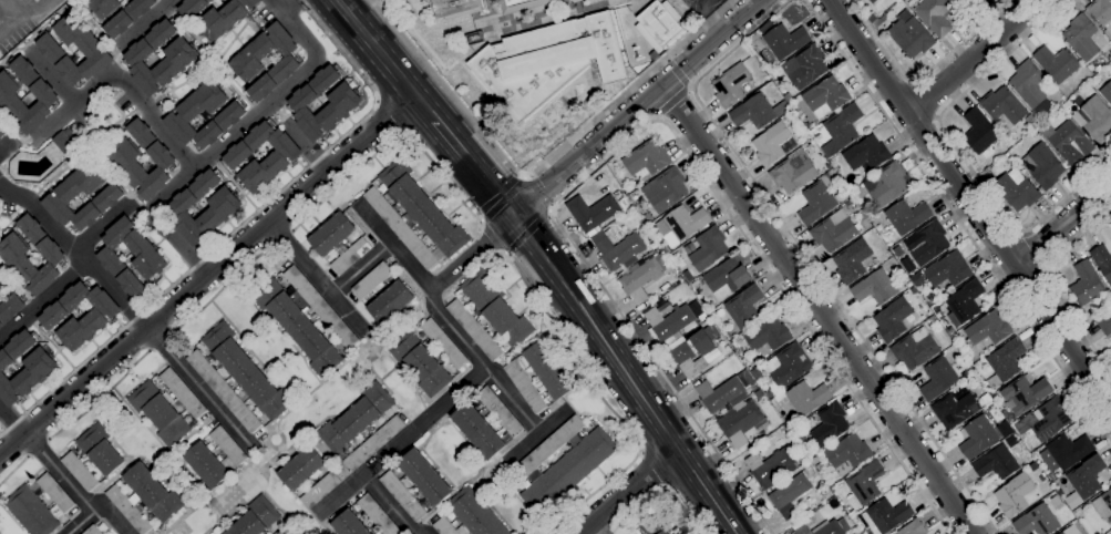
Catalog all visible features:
building: (872, 1)
building: (956, 1)
building: (979, 1)
building: (974, 2)
building: (522, 6)
building: (103, 7)
road: (275, 7)
road: (288, 7)
building: (452, 7)
building: (192, 8)
road: (356, 8)
building: (474, 10)
road: (28, 11)
building: (1101, 13)
building: (127, 17)
road: (708, 17)
building: (935, 17)
building: (871, 18)
building: (224, 19)
building: (878, 22)
road: (143, 23)
building: (660, 24)
building: (764, 28)
building: (909, 37)
building: (1081, 38)
building: (784, 41)
building: (51, 50)
road: (975, 58)
road: (383, 59)
building: (178, 60)
road: (667, 60)
building: (548, 61)
building: (245, 63)
building: (1057, 64)
building: (804, 68)
road: (677, 74)
road: (922, 74)
road: (52, 75)
road: (120, 82)
building: (1028, 84)
road: (690, 86)
building: (730, 86)
building: (1105, 92)
building: (45, 96)
building: (825, 97)
road: (925, 100)
road: (672, 101)
building: (342, 105)
road: (636, 109)
building: (1002, 109)
building: (757, 112)
building: (232, 114)
road: (257, 114)
road: (390, 116)
road: (658, 117)
building: (1095, 120)
road: (647, 124)
building: (841, 130)
building: (2, 132)
building: (981, 134)
building: (0, 140)
road: (392, 140)
building: (62, 142)
building: (1067, 143)
building: (773, 144)
road: (4, 145)
building: (866, 154)
road: (957, 154)
building: (234, 158)
building: (122, 161)
building: (645, 161)
building: (1042, 166)
road: (542, 167)
road: (473, 168)
building: (793, 173)
road: (525, 177)
building: (884, 186)
building: (665, 191)
building: (1016, 191)
road: (536, 194)
building: (109, 197)
road: (504, 199)
building: (816, 202)
road: (970, 203)
building: (223, 209)
road: (551, 209)
building: (866, 212)
building: (591, 213)
building: (415, 216)
building: (906, 217)
traffic signals: (515, 218)
building: (647, 218)
road: (481, 222)
road: (958, 222)
building: (681, 224)
road: (1063, 225)
road: (103, 226)
road: (238, 227)
road: (528, 230)
building: (331, 234)
building: (834, 234)
road: (492, 238)
road: (179, 240)
road: (282, 240)
building: (926, 244)
building: (708, 249)
road: (76, 251)
building: (619, 251)
road: (474, 254)
road: (507, 254)
road: (1032, 254)
building: (12, 255)
building: (350, 256)
building: (150, 257)
road: (805, 258)
building: (851, 261)
building: (1102, 263)
road: (361, 269)
building: (948, 270)
road: (207, 276)
road: (316, 278)
building: (726, 278)
building: (916, 279)
building: (371, 280)
building: (639, 280)
road: (1051, 285)
building: (1087, 287)
building: (874, 288)
building: (2, 289)
road: (220, 289)
road: (43, 299)
building: (390, 301)
building: (964, 304)
building: (743, 307)
building: (10, 308)
building: (495, 308)
road: (817, 309)
building: (51, 317)
building: (305, 319)
building: (892, 319)
road: (446, 321)
building: (668, 322)
building: (1104, 325)
building: (474, 330)
building: (987, 331)
building: (767, 335)
road: (160, 341)
building: (443, 343)
building: (914, 349)
building: (691, 353)
building: (1005, 362)
building: (420, 363)
building: (788, 367)
building: (38, 370)
building: (246, 371)
building: (548, 371)
road: (626, 374)
building: (937, 379)
building: (525, 387)
road: (199, 389)
building: (223, 391)
building: (183, 393)
building: (769, 393)
building: (719, 394)
building: (758, 394)
building: (1025, 394)
road: (101, 398)
building: (805, 399)
road: (605, 401)
building: (986, 401)
building: (954, 409)
building: (160, 412)
building: (500, 412)
building: (356, 419)
building: (1049, 420)
road: (11, 421)
building: (739, 423)
building: (830, 425)
building: (477, 431)
road: (537, 437)
building: (977, 438)
road: (402, 441)
building: (804, 441)
building: (373, 444)
building: (1031, 446)
building: (547, 448)
road: (38, 449)
building: (100, 451)
building: (1069, 451)
building: (847, 454)
building: (215, 459)
building: (815, 460)
building: (996, 463)
building: (805, 465)
building: (769, 466)
building: (301, 469)
building: (820, 469)
road: (652, 470)
road: (14, 471)
building: (79, 472)
building: (567, 472)
building: (423, 477)
building: (1083, 481)
building: (779, 484)
building: (864, 485)
building: (319, 490)
road: (73, 491)
road: (661, 491)
road: (626, 492)
building: (55, 493)
building: (402, 496)
building: (789, 496)
building: (1015, 496)
building: (144, 499)
road: (389, 504)
building: (1103, 505)
building: (31, 512)
building: (377, 515)
building: (886, 515)
building: (470, 516)
building: (256, 518)
building: (1036, 522)
road: (79, 523)
building: (348, 524)
building: (656, 525)
road: (597, 526)
building: (834, 527)
building: (913, 528)
building: (802, 530)
building: (92, 531)
building: (282, 531)
road: (611, 532)
building: (1064, 532)
building: (274, 533)

